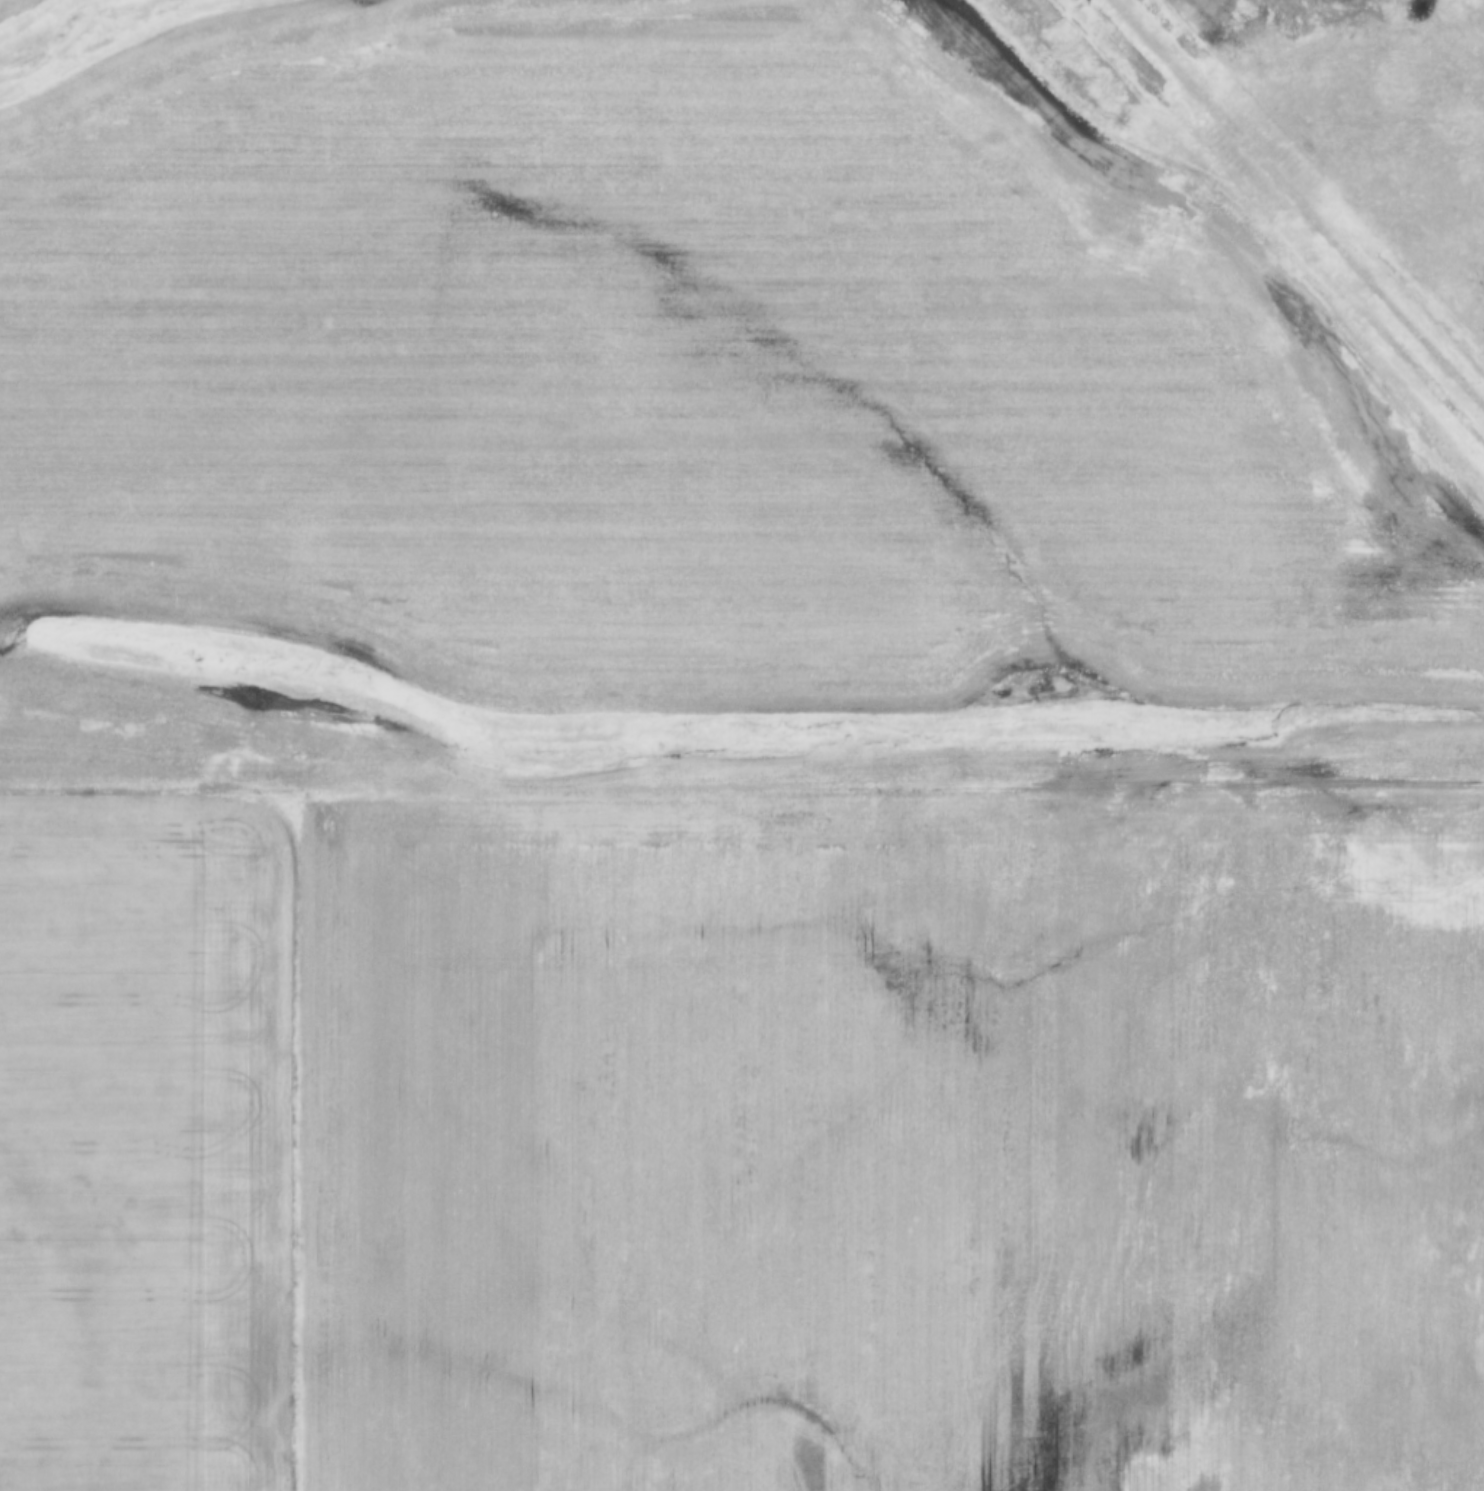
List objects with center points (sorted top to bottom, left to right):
road: (742, 788)

